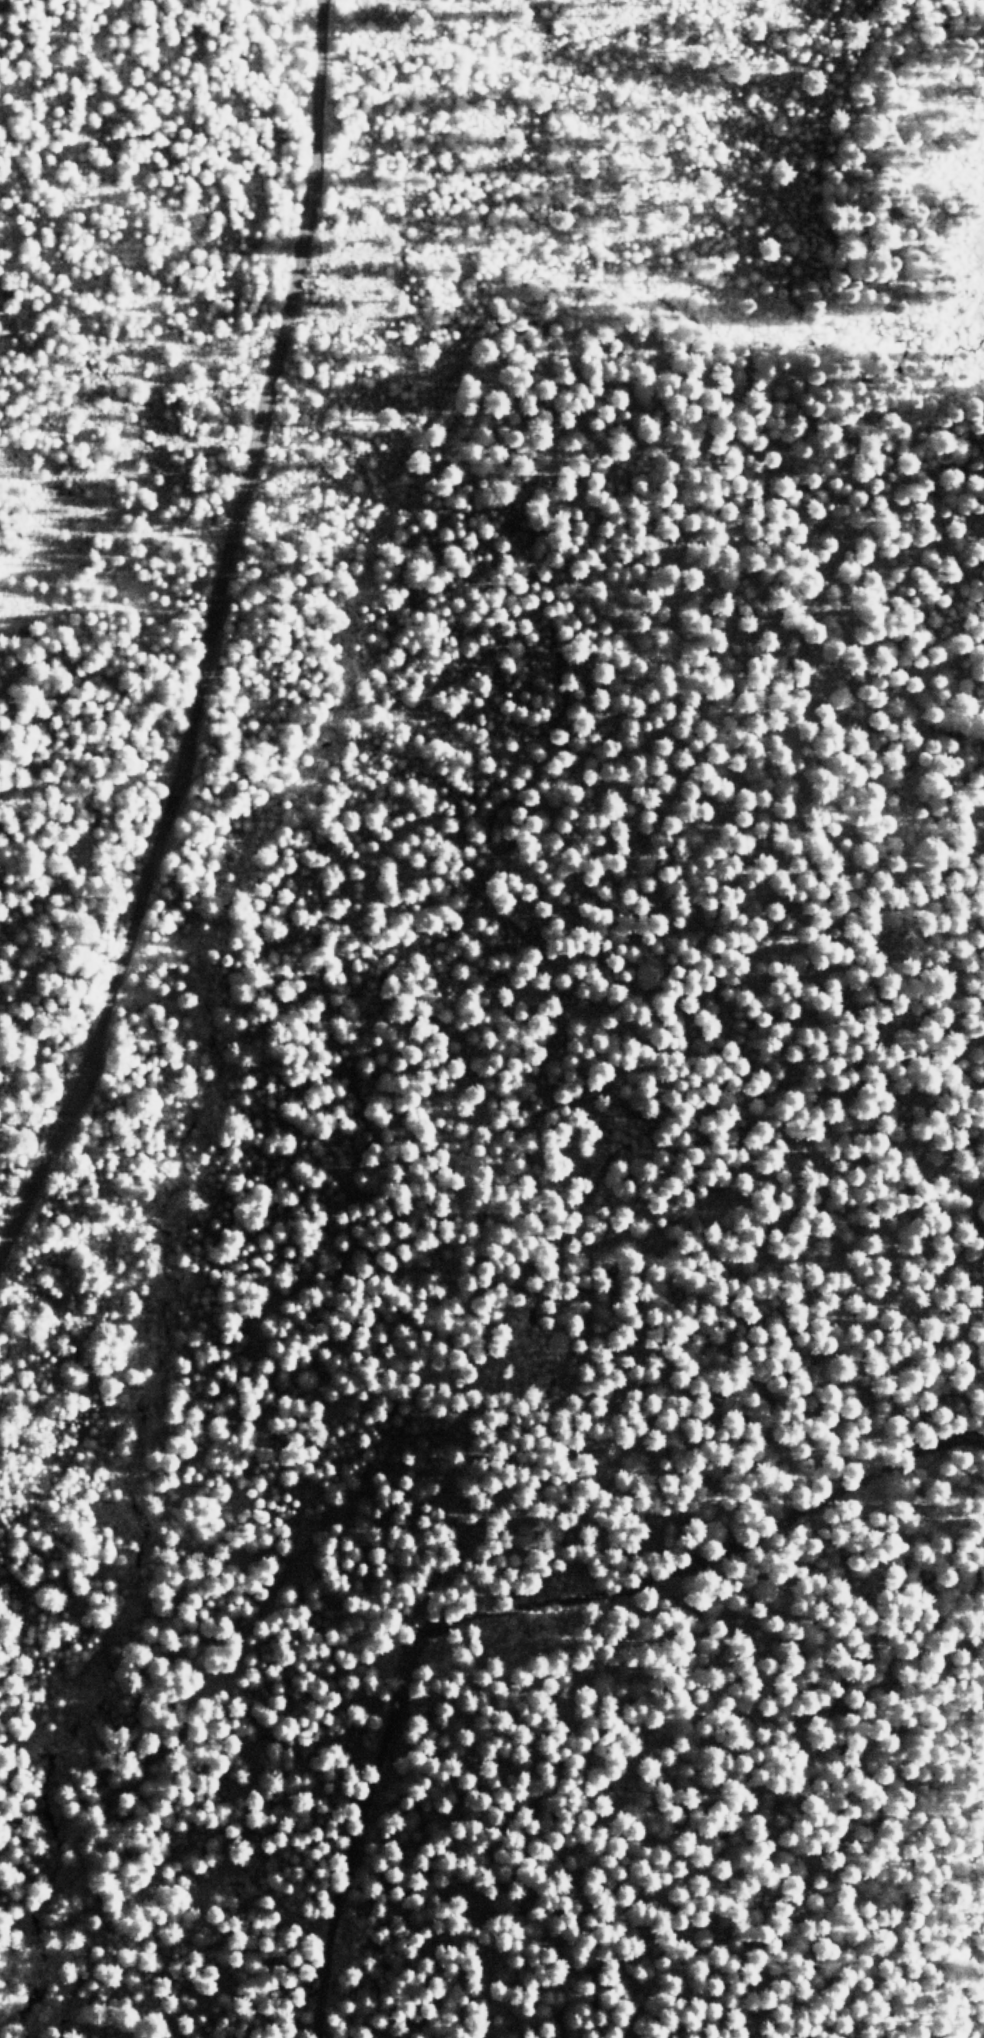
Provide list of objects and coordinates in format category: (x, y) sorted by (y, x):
road: (204, 635)

